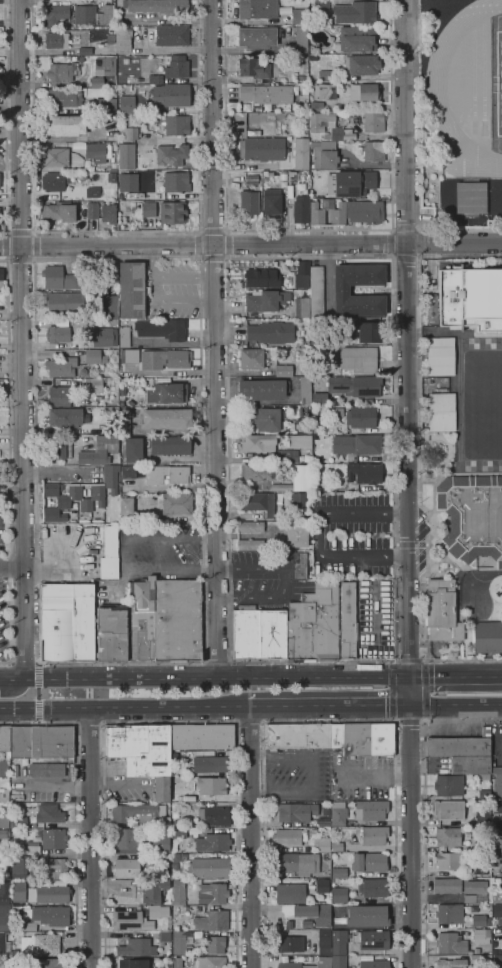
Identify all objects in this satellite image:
building: (157, 5)
building: (320, 5)
building: (258, 8)
building: (356, 12)
building: (85, 14)
building: (58, 15)
building: (299, 16)
building: (172, 35)
building: (257, 37)
building: (110, 38)
building: (357, 38)
building: (123, 39)
building: (302, 39)
building: (56, 40)
building: (85, 50)
building: (361, 64)
building: (101, 65)
building: (176, 66)
building: (254, 68)
track: (483, 71)
building: (60, 72)
track: (473, 74)
building: (325, 75)
building: (302, 78)
building: (155, 79)
park: (498, 81)
building: (97, 82)
park: (499, 82)
track: (434, 89)
building: (325, 90)
building: (364, 91)
building: (171, 94)
building: (266, 94)
building: (63, 98)
building: (126, 104)
building: (105, 105)
building: (318, 106)
road: (390, 115)
road: (6, 119)
building: (373, 121)
building: (65, 125)
building: (176, 125)
building: (317, 126)
building: (129, 133)
building: (315, 145)
building: (263, 148)
building: (374, 150)
building: (96, 151)
building: (301, 153)
building: (171, 154)
building: (56, 156)
building: (126, 156)
building: (328, 159)
building: (146, 162)
building: (267, 173)
building: (71, 174)
building: (283, 174)
building: (82, 176)
building: (291, 176)
building: (111, 177)
building: (251, 179)
building: (54, 181)
building: (126, 182)
building: (176, 182)
building: (353, 183)
building: (92, 192)
building: (471, 197)
road: (224, 198)
building: (271, 202)
building: (249, 203)
building: (498, 203)
building: (120, 204)
building: (143, 209)
building: (92, 210)
building: (300, 210)
building: (59, 211)
building: (365, 211)
building: (172, 212)
building: (108, 213)
building: (316, 214)
building: (338, 214)
road: (404, 228)
road: (114, 230)
road: (212, 230)
road: (420, 230)
road: (459, 230)
road: (20, 231)
road: (420, 242)
road: (388, 243)
road: (226, 244)
road: (35, 245)
road: (199, 245)
road: (251, 245)
road: (8, 246)
road: (19, 247)
road: (420, 255)
road: (405, 256)
road: (20, 259)
road: (212, 259)
road: (405, 260)
building: (1, 274)
building: (302, 274)
road: (166, 277)
building: (59, 278)
building: (262, 278)
building: (131, 289)
parking lot: (172, 289)
building: (341, 290)
building: (316, 292)
building: (471, 299)
building: (265, 300)
road: (172, 301)
building: (64, 303)
building: (109, 306)
building: (302, 307)
building: (162, 329)
building: (272, 332)
building: (369, 332)
building: (57, 334)
building: (124, 336)
building: (102, 337)
road: (214, 338)
building: (333, 348)
building: (94, 356)
building: (129, 356)
building: (439, 357)
building: (251, 358)
building: (358, 358)
building: (179, 360)
building: (304, 361)
building: (61, 367)
building: (283, 370)
building: (332, 370)
building: (93, 385)
building: (355, 386)
building: (261, 389)
building: (305, 390)
building: (170, 393)
building: (59, 396)
building: (319, 398)
park: (481, 404)
building: (336, 412)
building: (441, 412)
building: (65, 417)
building: (361, 417)
building: (166, 419)
building: (265, 419)
building: (299, 441)
building: (356, 444)
building: (170, 446)
building: (268, 448)
building: (59, 449)
building: (99, 450)
building: (133, 450)
road: (419, 456)
road: (9, 463)
building: (316, 468)
building: (128, 472)
building: (256, 472)
building: (364, 473)
building: (167, 474)
building: (296, 480)
building: (79, 494)
building: (279, 497)
building: (298, 499)
building: (258, 502)
building: (177, 503)
building: (126, 504)
building: (472, 516)
building: (250, 526)
road: (407, 534)
road: (321, 535)
parking lot: (351, 535)
building: (296, 536)
building: (110, 541)
building: (250, 544)
road: (410, 544)
parking lot: (159, 551)
road: (125, 555)
building: (298, 565)
road: (12, 566)
building: (108, 567)
parking lot: (260, 576)
road: (285, 580)
parking lot: (3, 582)
road: (24, 585)
building: (442, 611)
building: (470, 616)
building: (163, 620)
building: (66, 622)
building: (348, 622)
building: (314, 624)
road: (408, 630)
building: (111, 633)
building: (258, 633)
building: (488, 637)
road: (393, 656)
road: (216, 659)
road: (203, 661)
road: (12, 663)
road: (25, 664)
road: (38, 664)
road: (455, 675)
road: (204, 676)
traffic signals: (409, 676)
road: (17, 691)
road: (38, 692)
road: (328, 705)
traffic signals: (409, 705)
road: (124, 706)
road: (455, 709)
road: (330, 721)
road: (409, 721)
road: (39, 722)
road: (89, 722)
road: (102, 722)
road: (169, 722)
road: (249, 722)
road: (76, 723)
building: (201, 736)
building: (297, 736)
building: (336, 736)
building: (356, 739)
building: (381, 739)
building: (37, 741)
building: (459, 745)
building: (140, 747)
building: (210, 764)
building: (470, 764)
building: (4, 766)
building: (46, 769)
road: (315, 774)
road: (376, 775)
building: (483, 777)
building: (497, 782)
building: (449, 785)
building: (211, 786)
building: (160, 789)
building: (485, 794)
building: (4, 795)
road: (424, 805)
building: (496, 806)
road: (75, 809)
building: (371, 809)
building: (448, 810)
building: (296, 812)
building: (338, 812)
building: (49, 813)
building: (139, 814)
building: (214, 816)
building: (483, 819)
building: (3, 822)
building: (19, 822)
building: (324, 822)
building: (176, 823)
building: (498, 828)
building: (178, 833)
building: (3, 834)
building: (374, 835)
road: (250, 836)
road: (410, 836)
building: (447, 836)
road: (89, 837)
building: (127, 837)
building: (289, 837)
building: (53, 838)
building: (160, 842)
building: (213, 842)
building: (483, 842)
building: (321, 844)
building: (30, 846)
building: (337, 847)
building: (496, 850)
building: (175, 857)
building: (183, 857)
building: (447, 860)
building: (162, 861)
building: (369, 861)
building: (297, 863)
building: (174, 865)
building: (19, 866)
building: (56, 867)
building: (127, 867)
building: (208, 867)
building: (481, 869)
building: (338, 872)
building: (322, 886)
building: (374, 888)
building: (463, 888)
building: (18, 890)
building: (154, 890)
building: (179, 892)
building: (4, 893)
building: (213, 893)
building: (290, 893)
building: (49, 894)
building: (339, 894)
building: (496, 897)
building: (487, 905)
building: (497, 910)
building: (158, 911)
building: (314, 913)
building: (449, 913)
building: (48, 915)
building: (367, 915)
building: (5, 918)
building: (212, 920)
building: (479, 920)
building: (130, 921)
building: (305, 924)
building: (28, 926)
building: (14, 929)
building: (499, 934)
building: (164, 936)
building: (481, 936)
building: (178, 937)
building: (371, 939)
building: (324, 942)
building: (338, 942)
building: (291, 943)
building: (451, 943)
building: (214, 944)
building: (4, 945)
building: (40, 945)
building: (136, 947)
building: (476, 950)
building: (497, 960)
building: (338, 961)
building: (481, 961)
building: (211, 962)
building: (45, 963)
building: (290, 963)
building: (451, 963)
building: (17, 964)
building: (132, 964)
building: (374, 964)
building: (160, 967)

